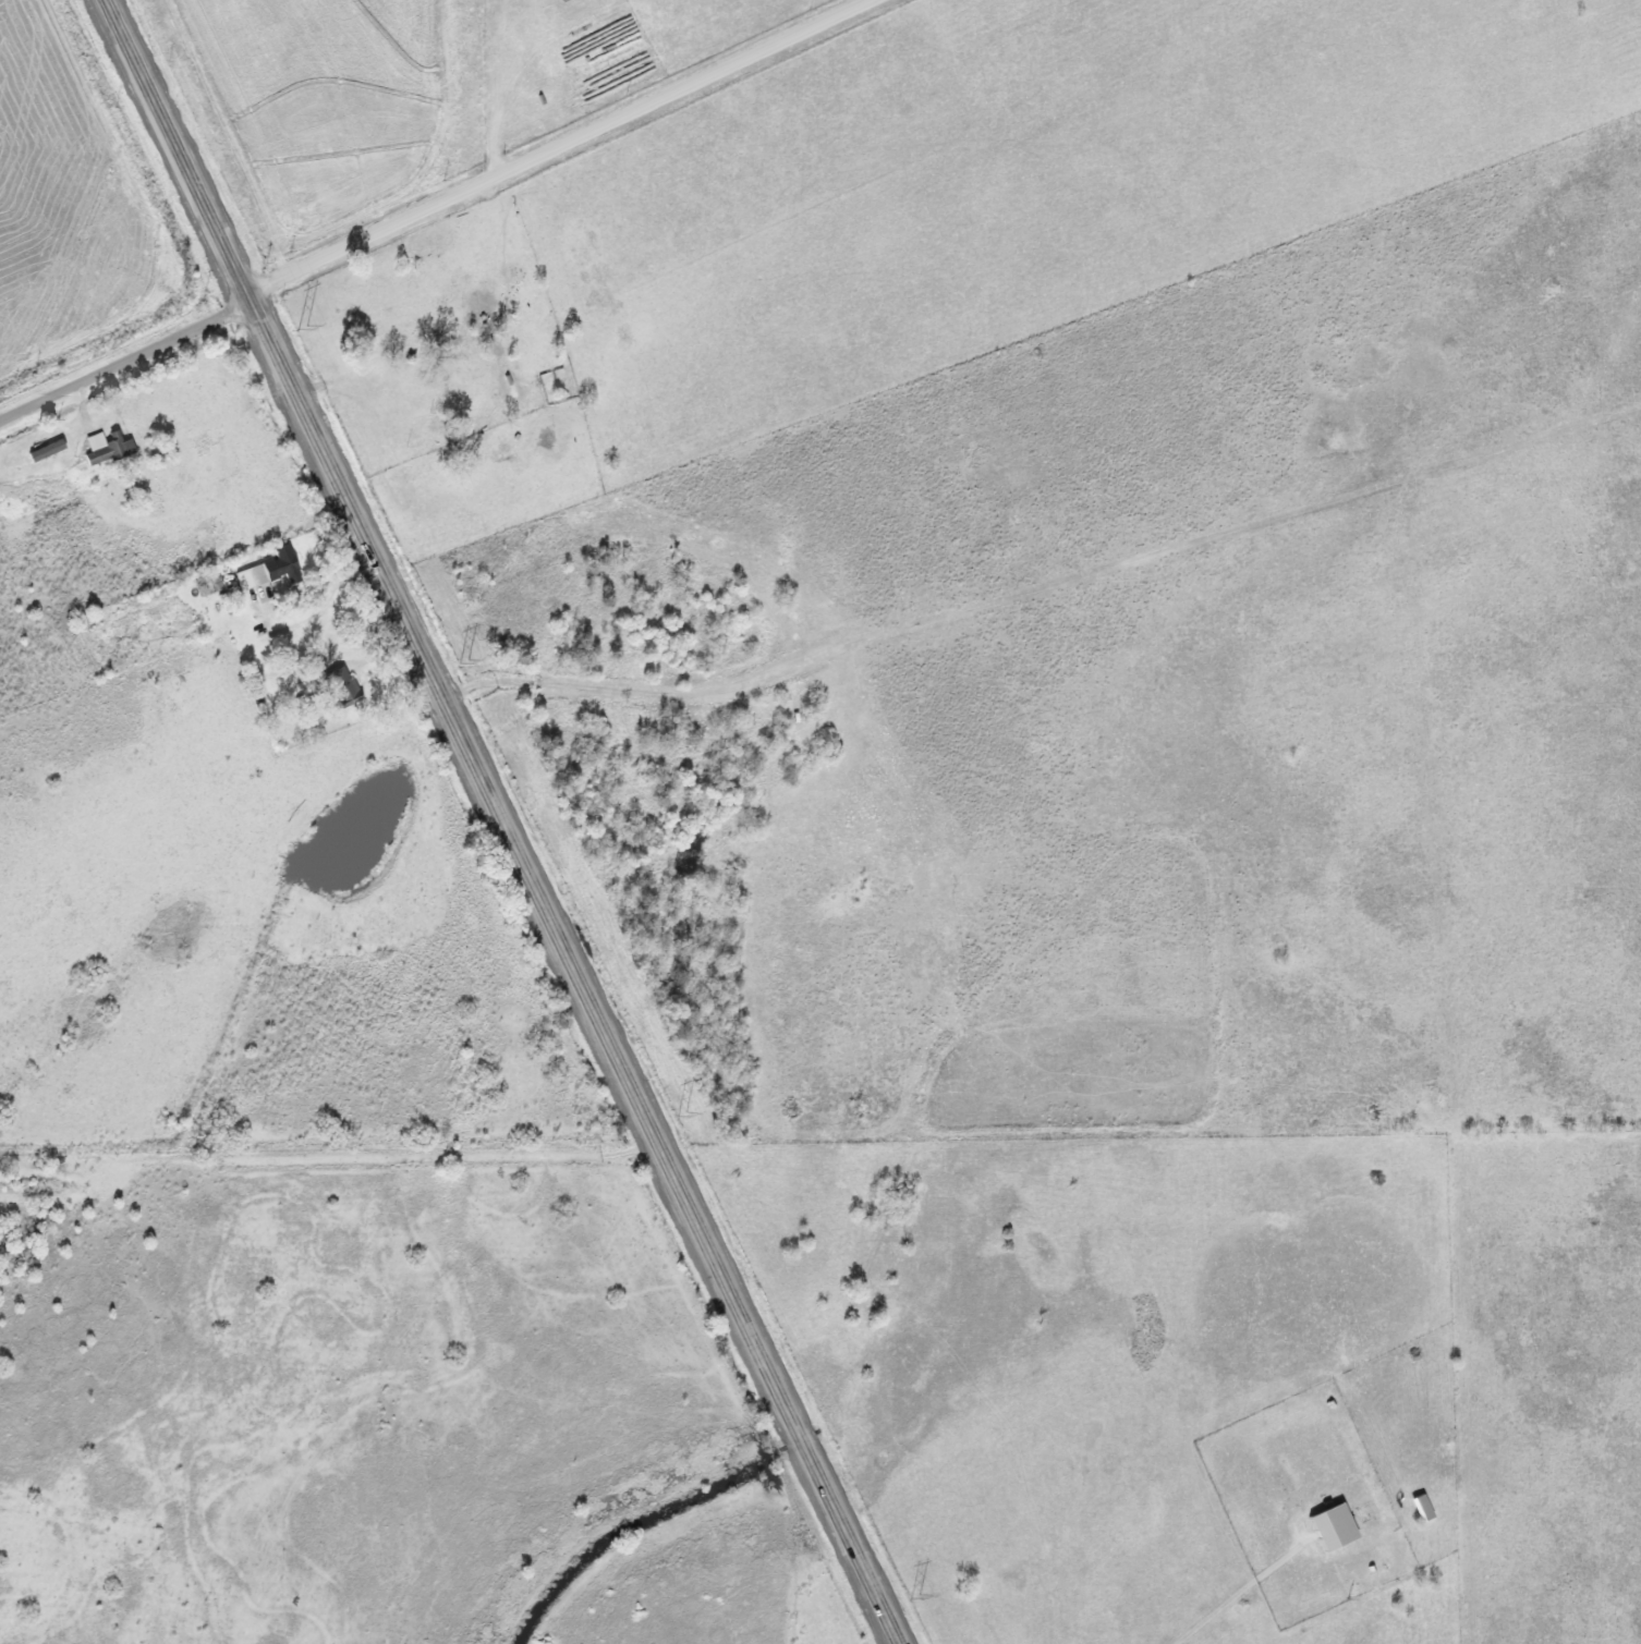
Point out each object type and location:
road: (559, 148)
power tower: (303, 326)
road: (123, 358)
road: (84, 400)
building: (108, 446)
building: (260, 570)
road: (324, 597)
power tower: (464, 659)
road: (356, 668)
building: (333, 684)
road: (499, 821)
power tower: (682, 1112)
power tower: (915, 1595)

